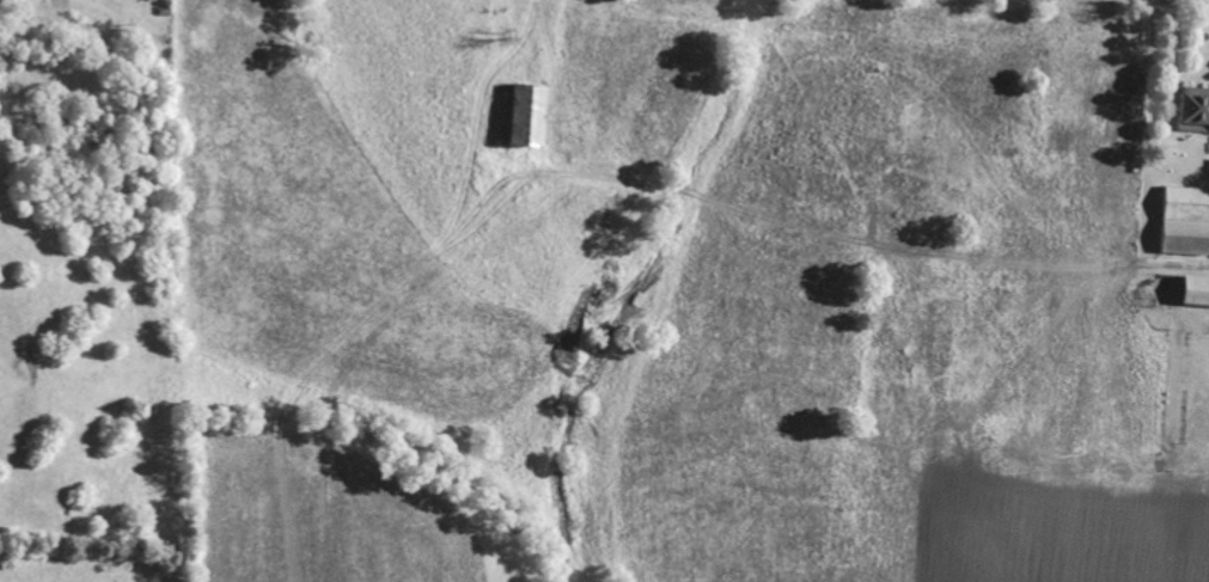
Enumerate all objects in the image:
building: (1196, 110)
building: (535, 117)
building: (1198, 293)

